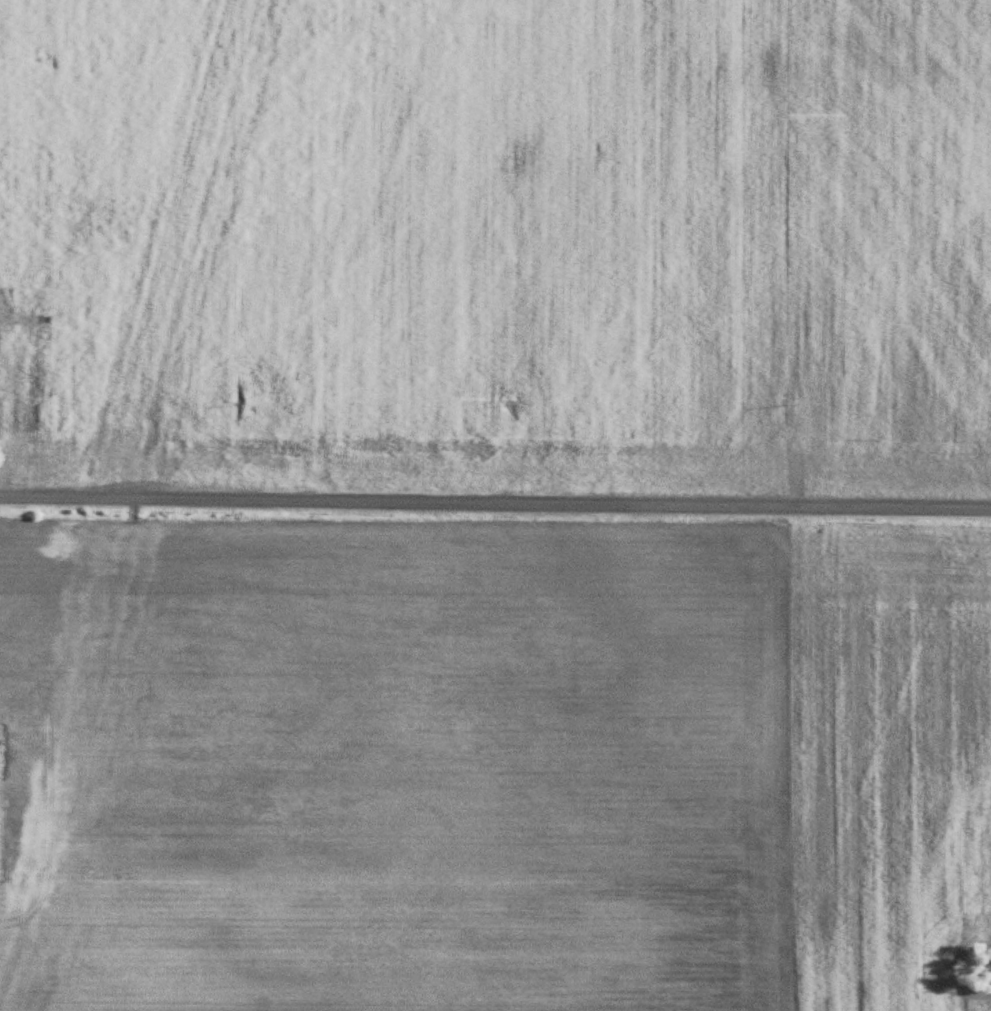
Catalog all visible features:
road: (495, 503)

